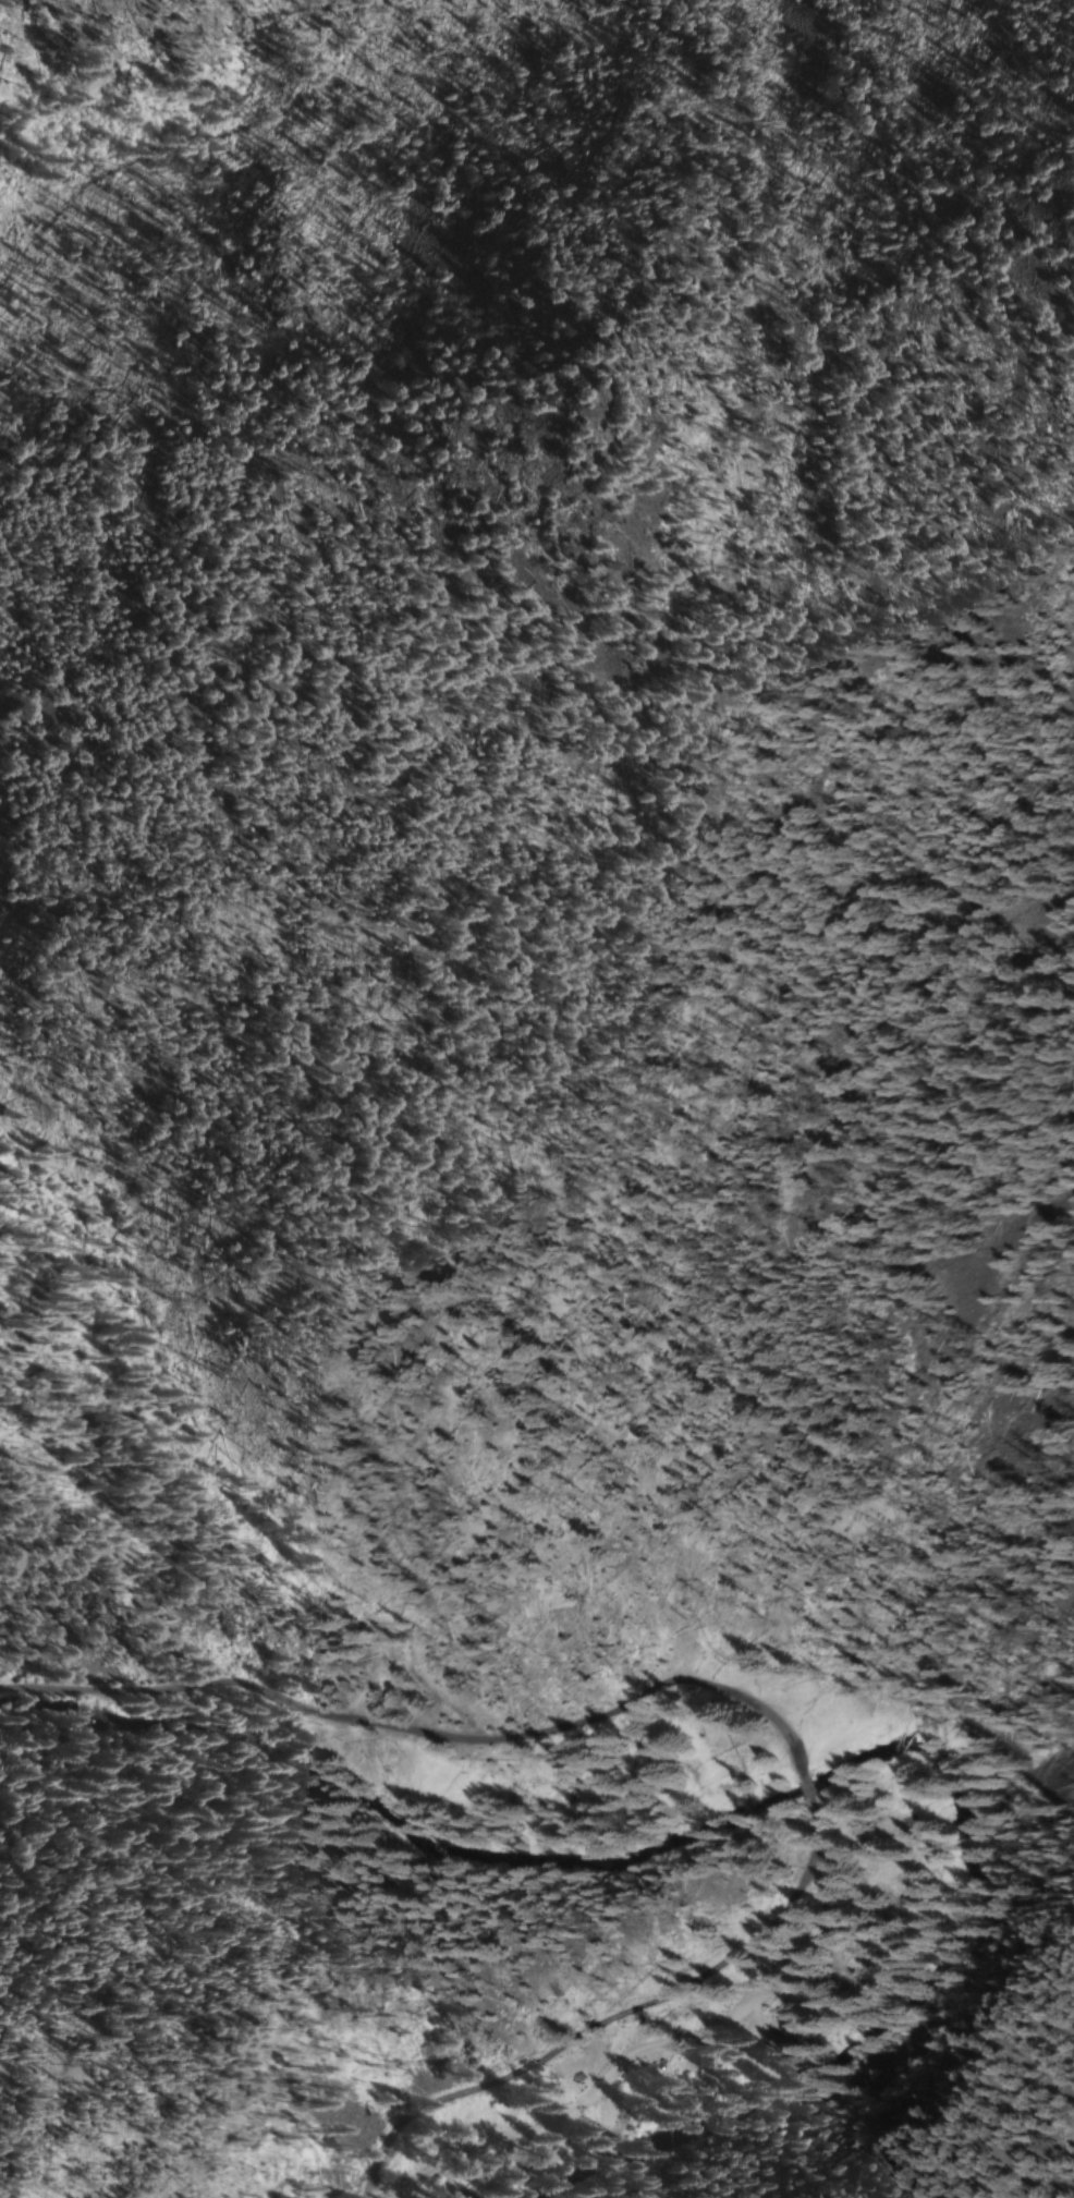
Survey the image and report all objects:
mineshaft: (2, 717)
road: (419, 1727)
road: (803, 1782)
river: (796, 1790)
road: (610, 2013)
road: (638, 2050)

